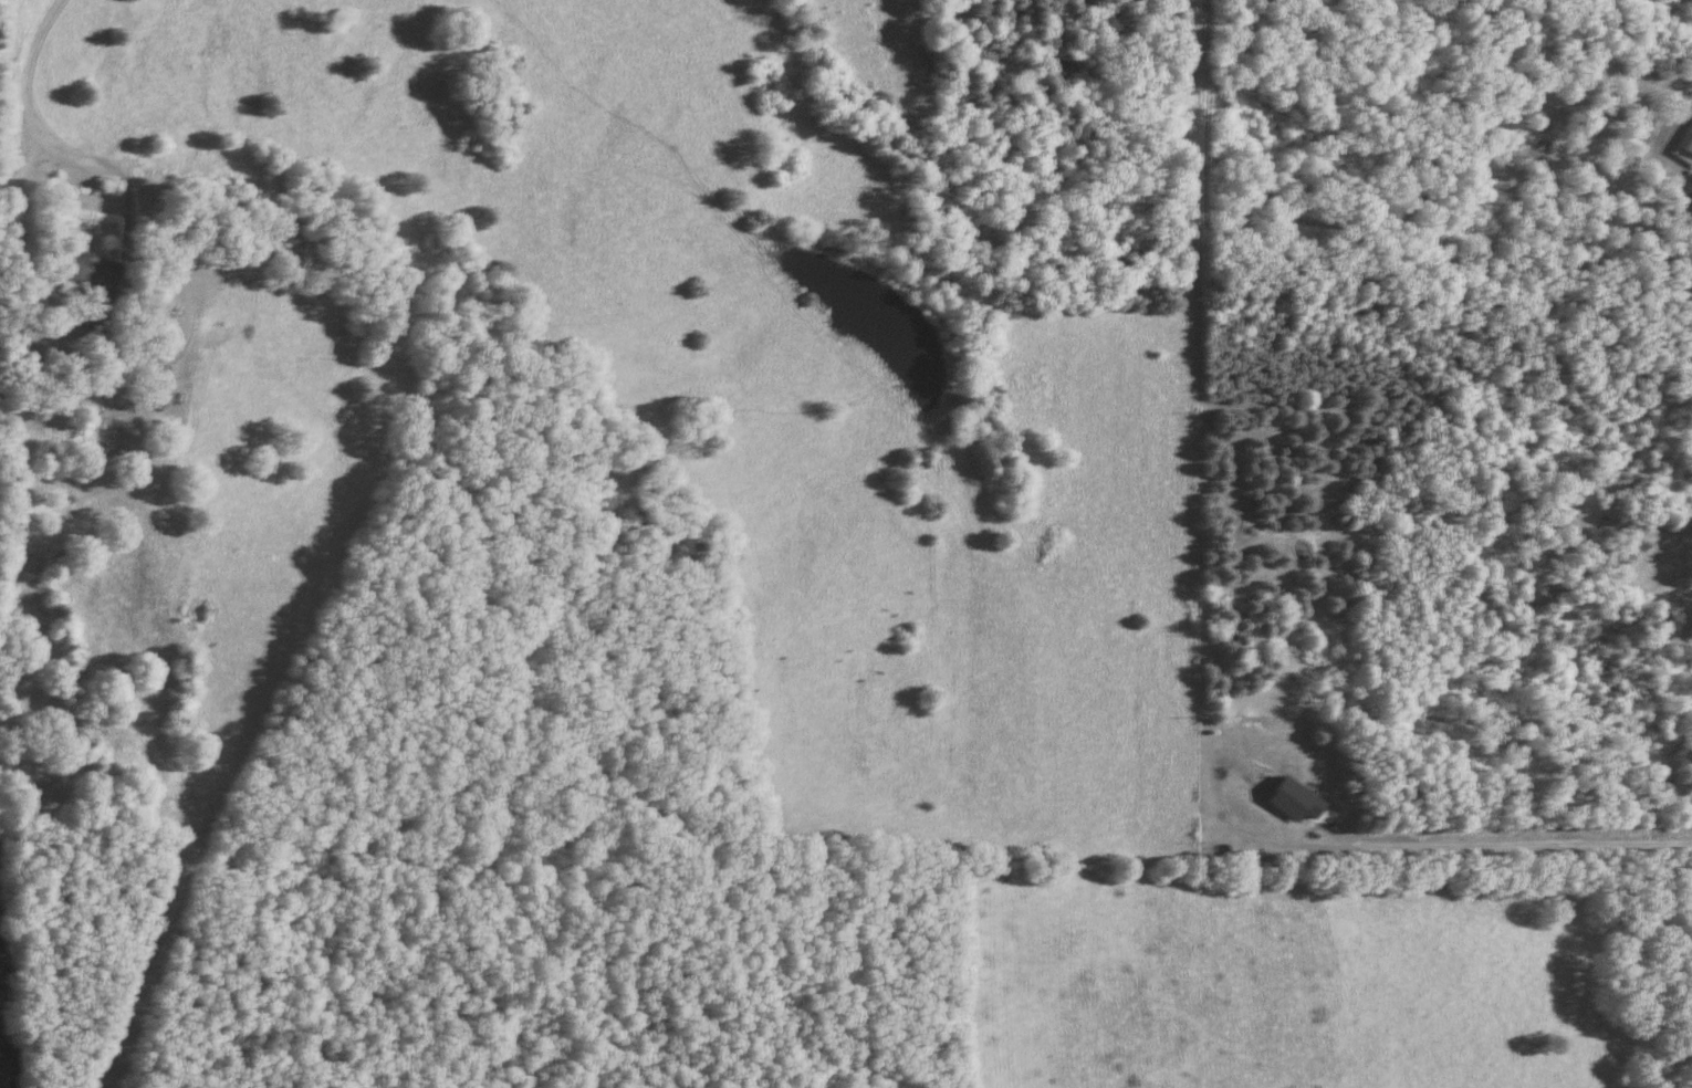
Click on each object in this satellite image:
building: (1686, 147)
road: (51, 149)
building: (97, 272)
building: (1299, 797)

